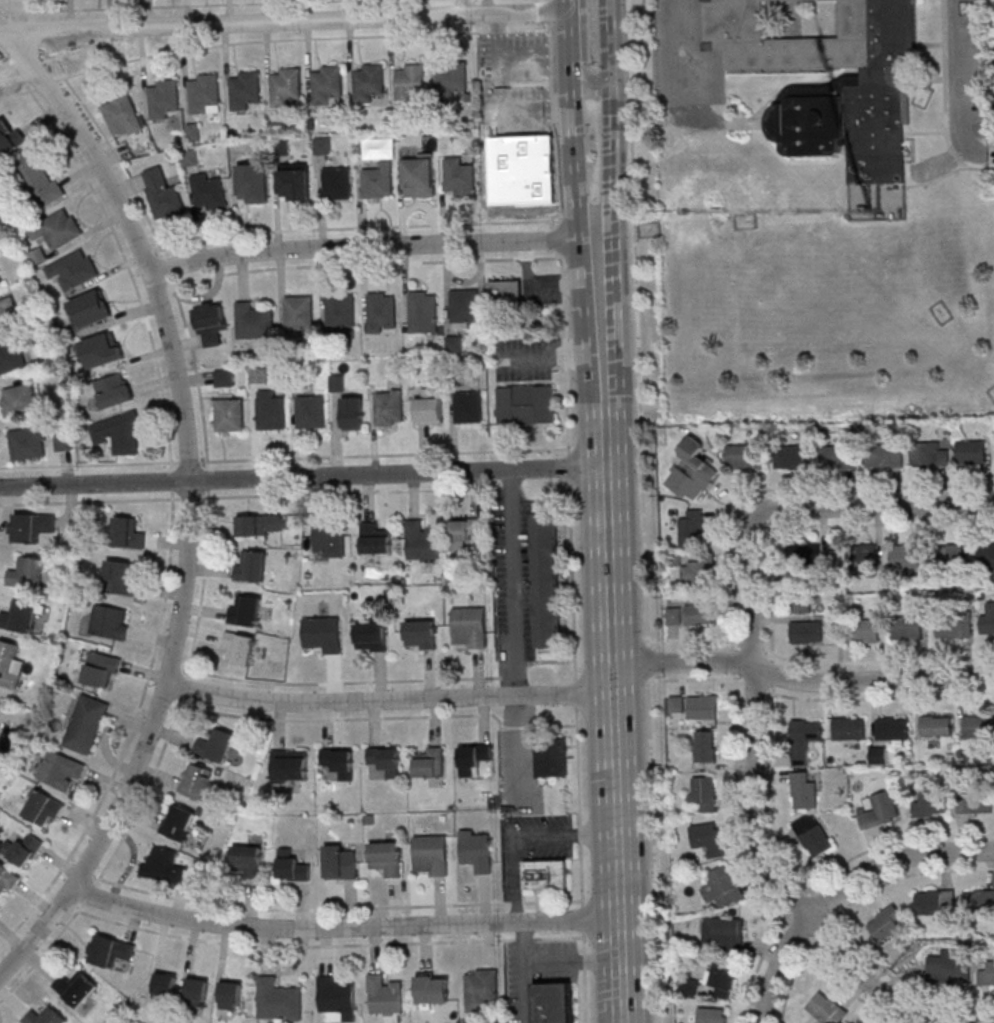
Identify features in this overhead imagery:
road: (163, 5)
road: (6, 10)
road: (550, 12)
road: (285, 23)
road: (11, 25)
road: (570, 38)
road: (300, 39)
road: (678, 53)
road: (15, 74)
road: (22, 77)
building: (409, 80)
building: (451, 80)
building: (368, 81)
traffic signals: (613, 81)
road: (46, 83)
building: (327, 83)
building: (285, 85)
road: (962, 85)
building: (245, 87)
road: (591, 87)
building: (847, 91)
road: (18, 92)
building: (205, 93)
building: (163, 98)
road: (502, 102)
building: (120, 112)
road: (614, 121)
building: (10, 140)
building: (323, 145)
road: (991, 152)
road: (574, 159)
building: (522, 169)
building: (419, 174)
building: (460, 176)
building: (39, 178)
building: (296, 180)
building: (378, 181)
building: (337, 182)
building: (252, 186)
building: (208, 192)
building: (163, 195)
building: (57, 228)
road: (560, 238)
road: (371, 247)
building: (37, 256)
building: (74, 268)
building: (0, 282)
building: (506, 290)
building: (464, 307)
building: (91, 308)
building: (423, 308)
building: (341, 310)
building: (299, 312)
building: (382, 312)
building: (8, 315)
building: (254, 321)
building: (212, 323)
building: (455, 343)
building: (103, 349)
building: (12, 357)
building: (259, 375)
building: (224, 377)
building: (114, 390)
building: (19, 399)
building: (526, 404)
building: (469, 406)
building: (390, 407)
building: (429, 408)
building: (271, 410)
building: (311, 411)
building: (354, 413)
building: (230, 414)
building: (118, 433)
building: (64, 441)
building: (29, 443)
building: (971, 452)
building: (929, 454)
building: (744, 456)
building: (883, 456)
road: (283, 457)
building: (792, 457)
building: (838, 457)
road: (569, 466)
building: (696, 470)
road: (303, 478)
road: (848, 487)
road: (188, 504)
road: (873, 504)
road: (642, 511)
road: (172, 519)
building: (262, 525)
building: (31, 526)
building: (692, 528)
building: (465, 531)
building: (128, 532)
building: (375, 538)
building: (330, 539)
building: (422, 541)
building: (865, 554)
building: (987, 554)
building: (801, 555)
building: (947, 555)
building: (906, 556)
building: (251, 565)
building: (27, 572)
building: (695, 574)
building: (121, 576)
road: (572, 579)
building: (548, 581)
road: (513, 584)
road: (751, 589)
building: (800, 600)
building: (246, 609)
building: (699, 612)
building: (673, 615)
building: (20, 616)
building: (987, 620)
building: (111, 621)
building: (954, 626)
building: (470, 627)
building: (907, 627)
road: (612, 630)
building: (865, 630)
building: (806, 632)
building: (323, 633)
building: (422, 634)
building: (370, 635)
building: (240, 647)
road: (684, 660)
building: (10, 663)
building: (101, 669)
road: (873, 679)
road: (389, 701)
building: (0, 703)
building: (676, 704)
building: (703, 706)
building: (87, 723)
building: (936, 725)
building: (976, 725)
building: (849, 729)
building: (892, 729)
building: (804, 743)
building: (216, 744)
building: (705, 746)
road: (518, 754)
building: (879, 755)
building: (474, 757)
building: (552, 757)
building: (385, 759)
building: (338, 761)
building: (431, 762)
building: (290, 765)
building: (60, 768)
building: (197, 780)
building: (804, 790)
building: (704, 792)
building: (974, 801)
building: (930, 804)
building: (41, 806)
building: (881, 811)
building: (178, 822)
road: (524, 835)
building: (813, 835)
building: (708, 838)
building: (22, 848)
building: (477, 850)
building: (431, 855)
building: (387, 858)
road: (893, 859)
building: (248, 860)
building: (340, 862)
building: (168, 866)
building: (293, 866)
building: (547, 874)
building: (6, 879)
building: (723, 887)
road: (798, 900)
building: (933, 901)
building: (978, 901)
building: (886, 925)
road: (344, 929)
building: (722, 934)
building: (110, 951)
road: (575, 962)
road: (780, 966)
building: (949, 968)
road: (525, 972)
building: (986, 973)
building: (721, 979)
building: (165, 984)
building: (689, 987)
building: (76, 988)
building: (434, 988)
building: (481, 989)
building: (197, 991)
building: (231, 995)
building: (385, 997)
building: (279, 999)
building: (337, 999)
building: (554, 1002)
building: (826, 1008)
building: (711, 1015)
building: (44, 1016)

